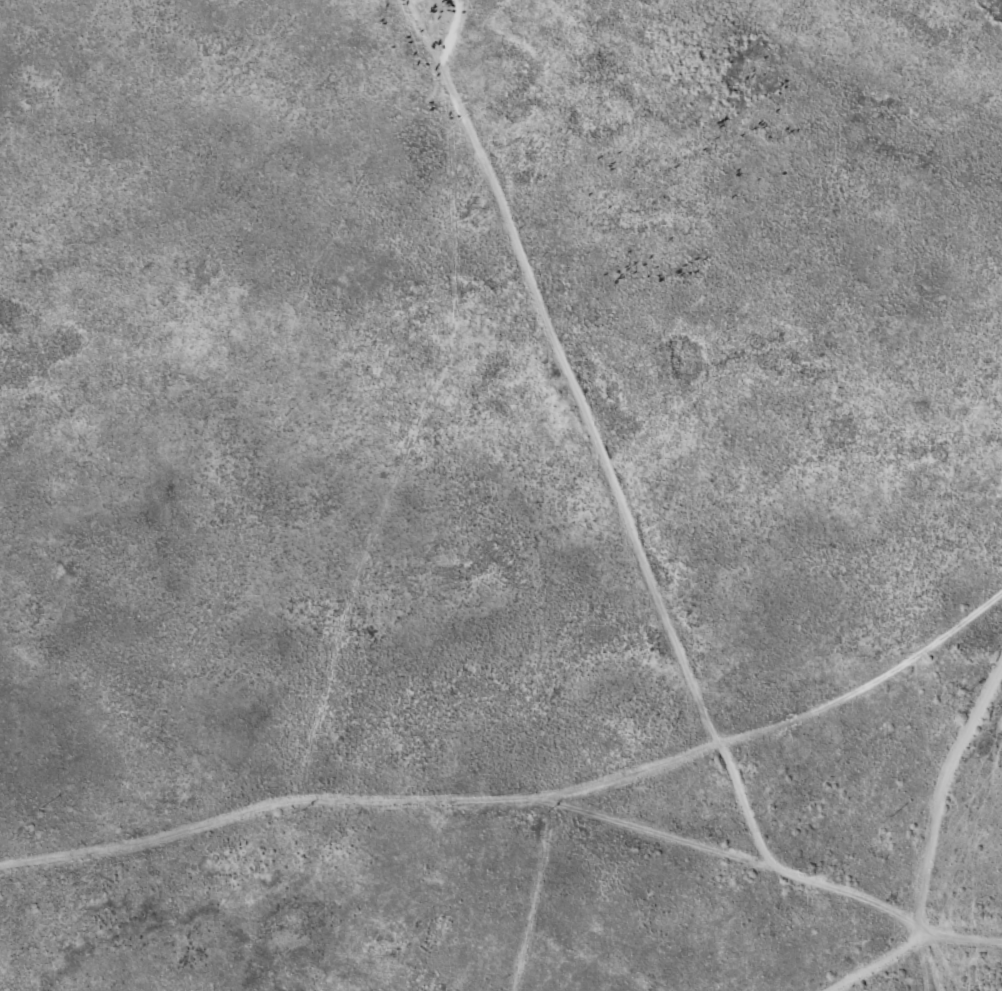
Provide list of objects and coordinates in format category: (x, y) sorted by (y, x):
road: (933, 846)

